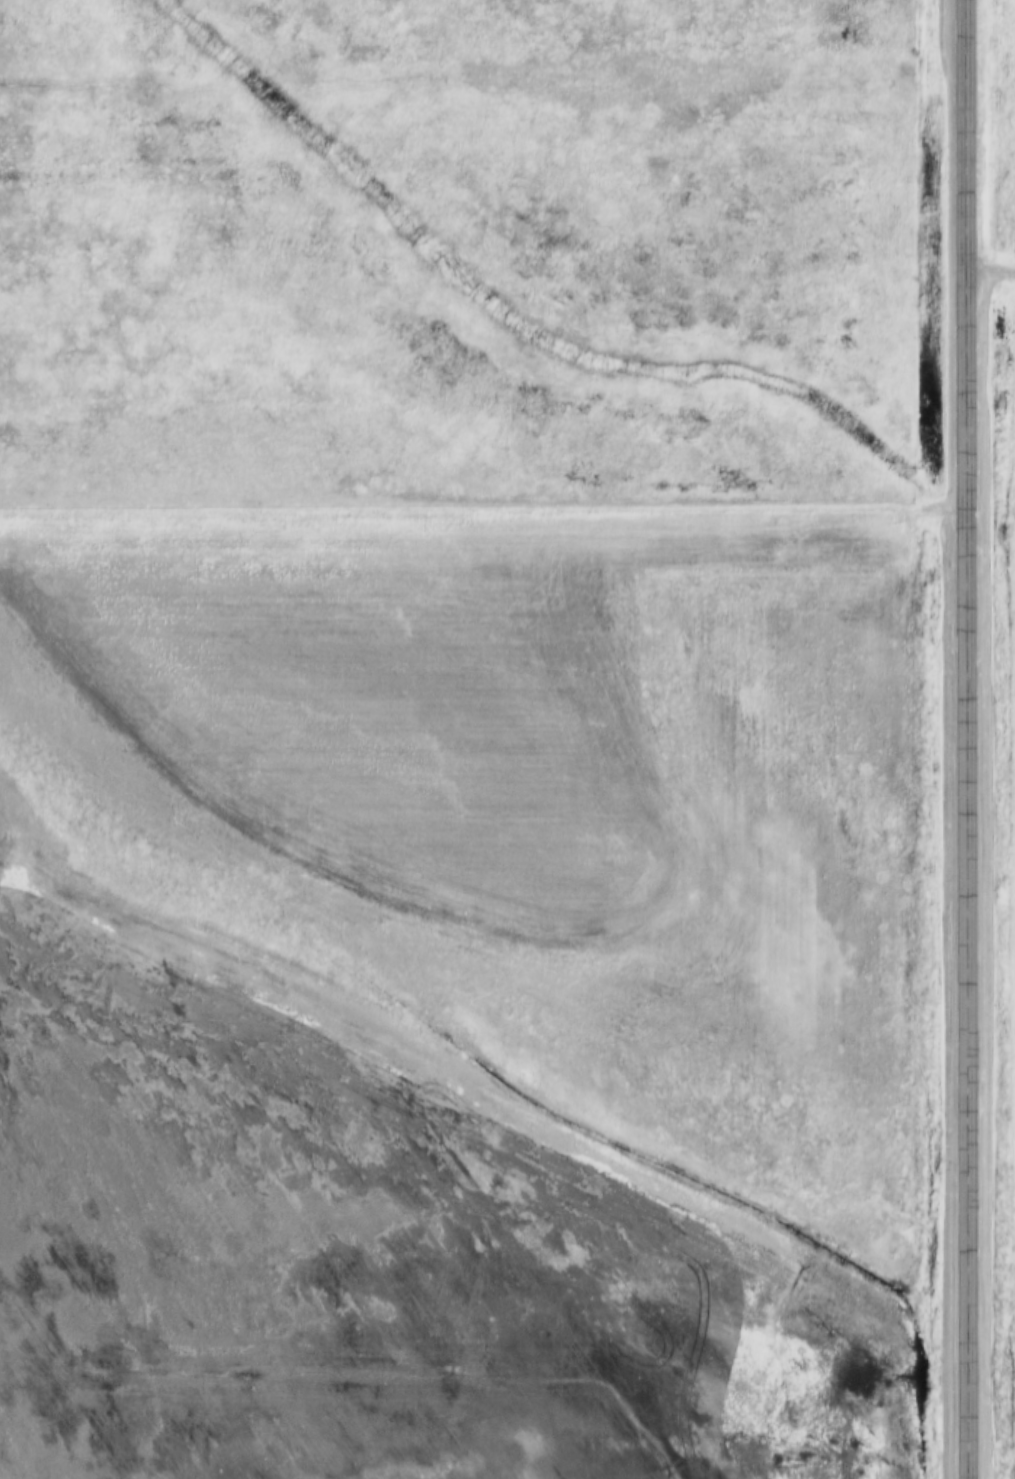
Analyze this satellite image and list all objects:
road: (974, 739)

